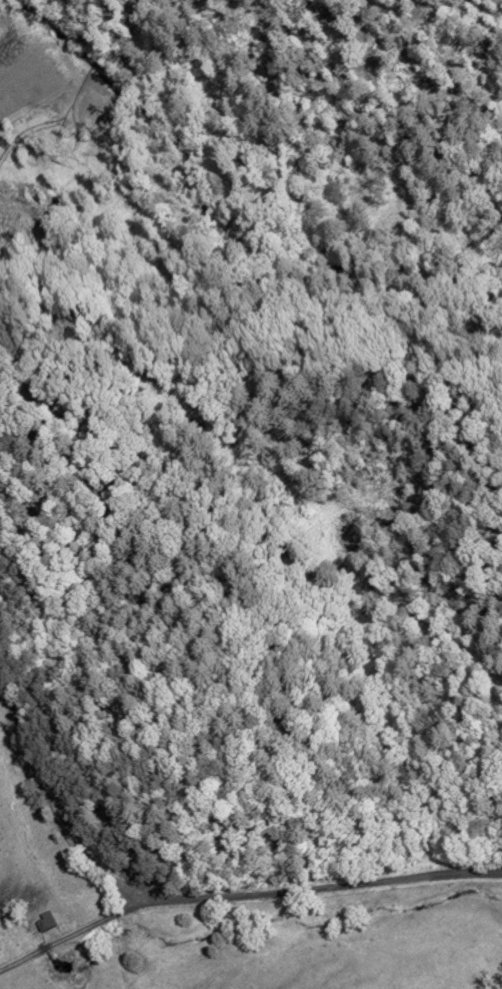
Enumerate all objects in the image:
road: (51, 809)
road: (320, 889)
building: (48, 919)
road: (69, 934)

